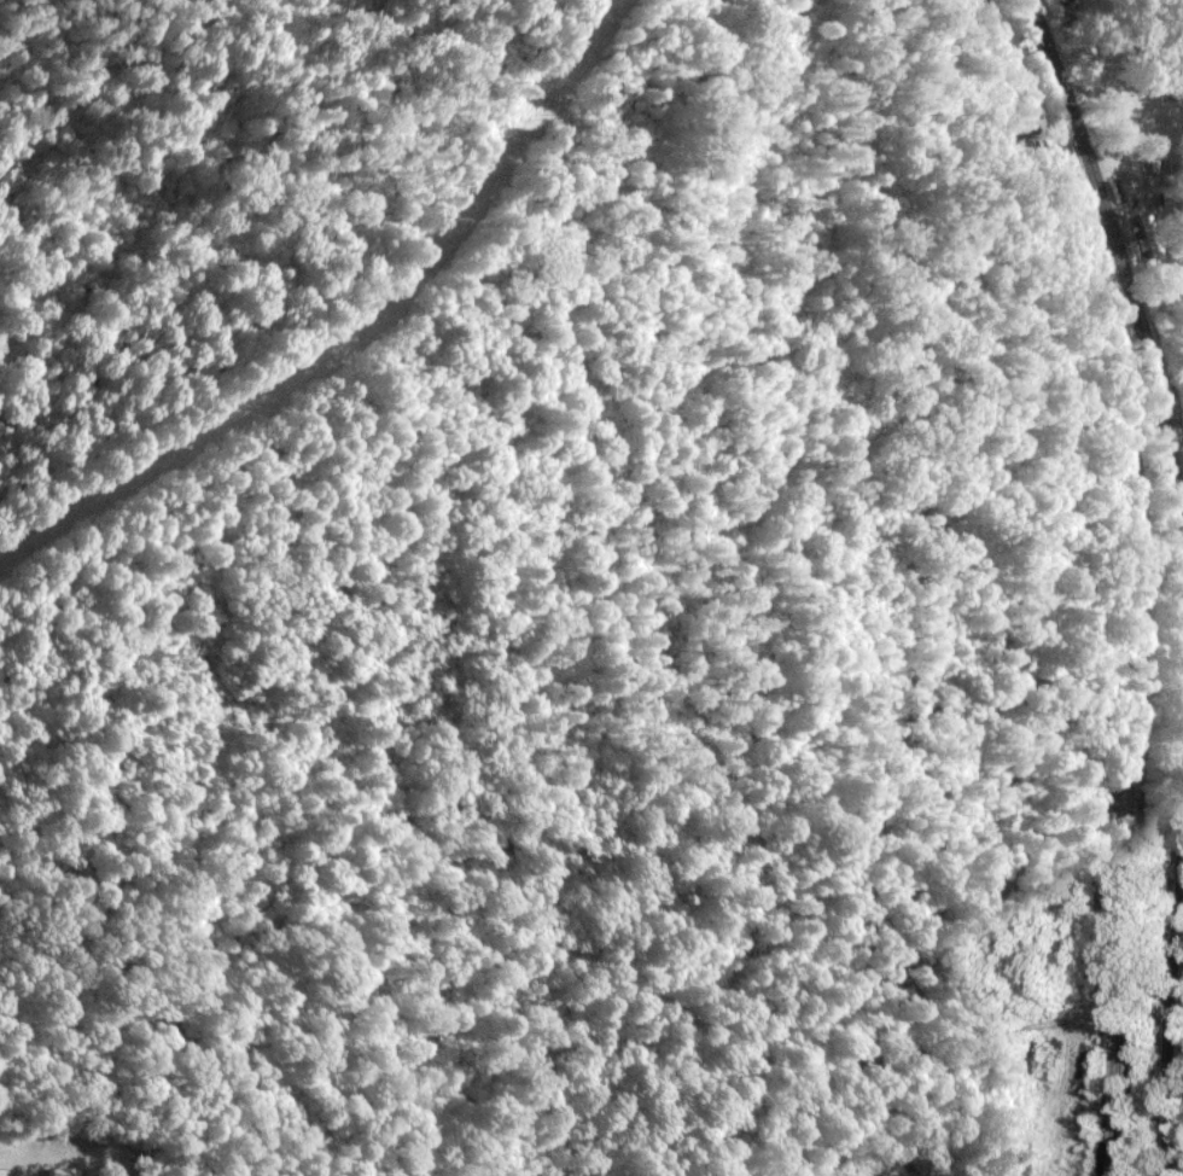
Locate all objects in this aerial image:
building: (1148, 237)
railway: (1135, 572)
road: (1175, 577)

